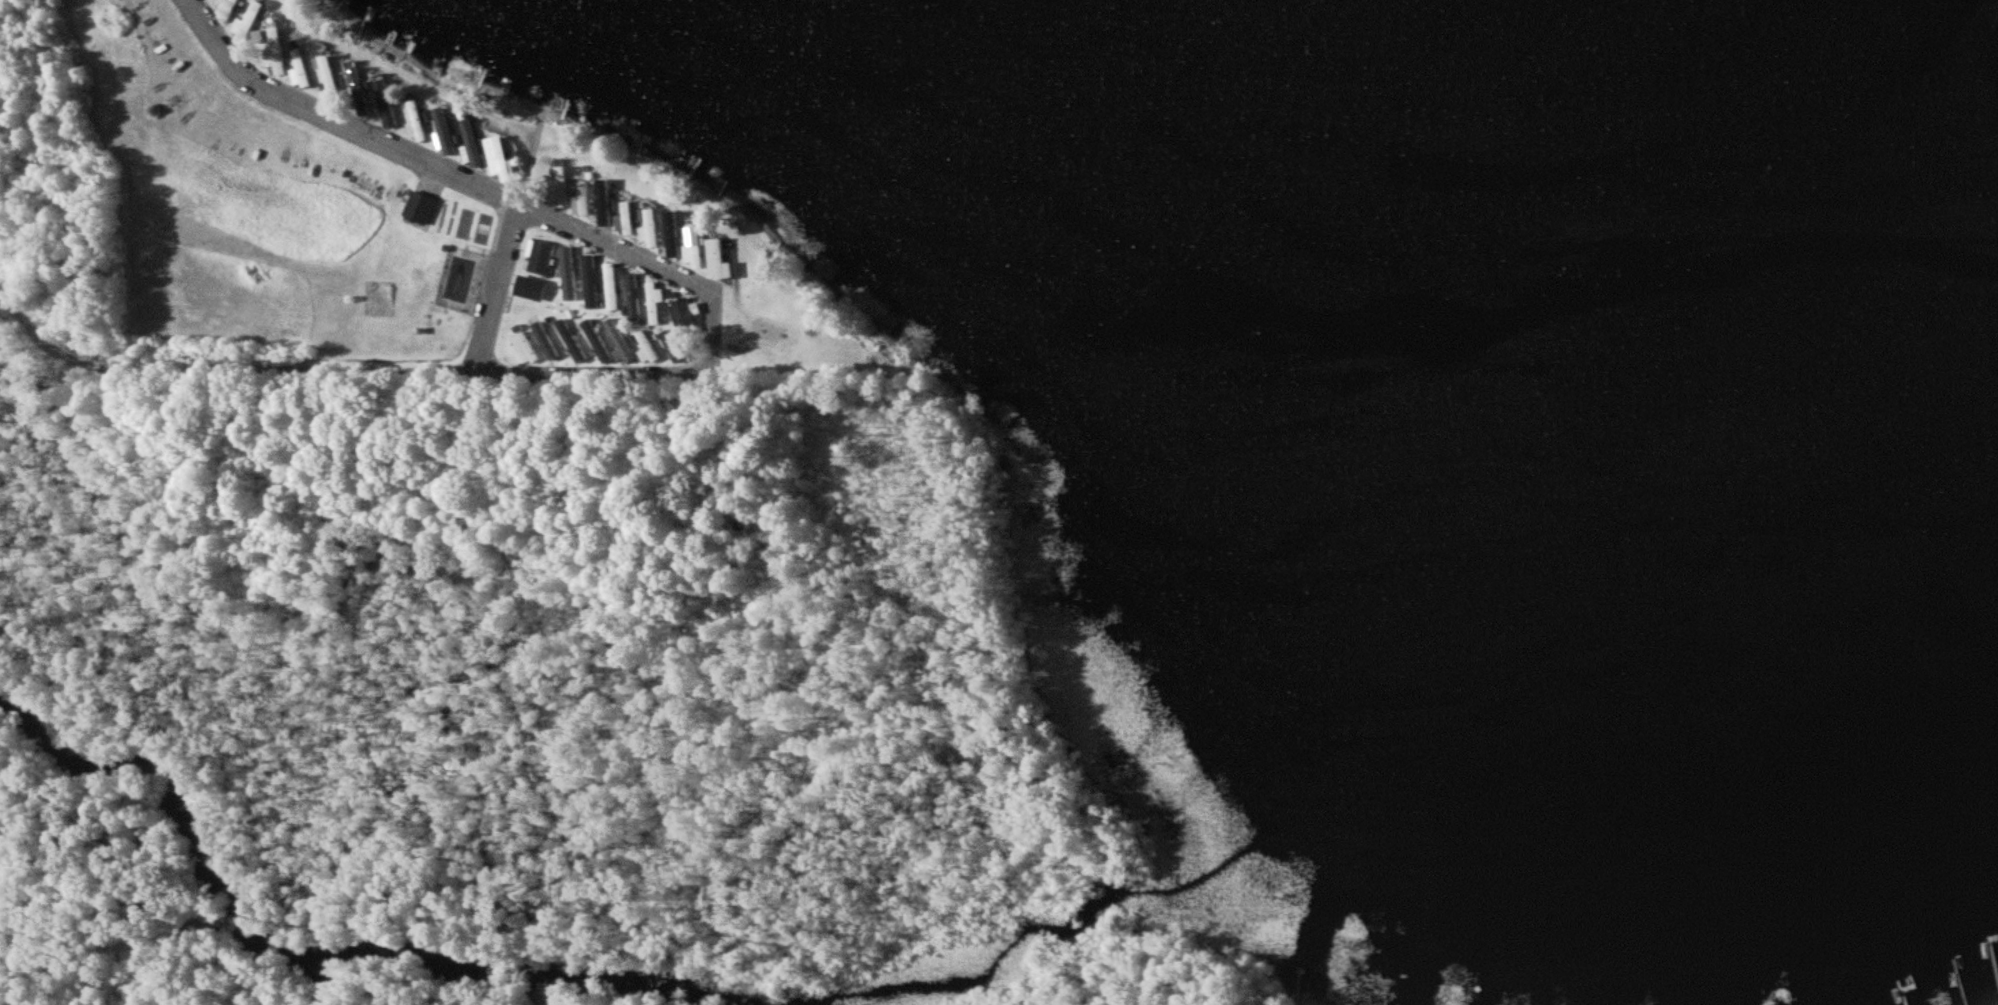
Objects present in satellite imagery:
building: (248, 23)
building: (277, 38)
building: (278, 63)
road: (237, 66)
building: (301, 69)
building: (330, 76)
building: (356, 81)
building: (387, 104)
building: (418, 122)
building: (447, 133)
building: (475, 144)
building: (504, 158)
building: (563, 176)
building: (583, 199)
building: (604, 202)
building: (421, 206)
road: (539, 214)
building: (627, 219)
building: (652, 228)
building: (673, 234)
building: (696, 247)
building: (543, 256)
building: (720, 259)
building: (569, 273)
building: (612, 286)
building: (533, 287)
road: (495, 289)
building: (631, 296)
building: (655, 301)
building: (545, 340)
building: (571, 340)
building: (598, 343)
building: (619, 343)
building: (646, 347)
building: (524, 348)
road: (343, 368)

